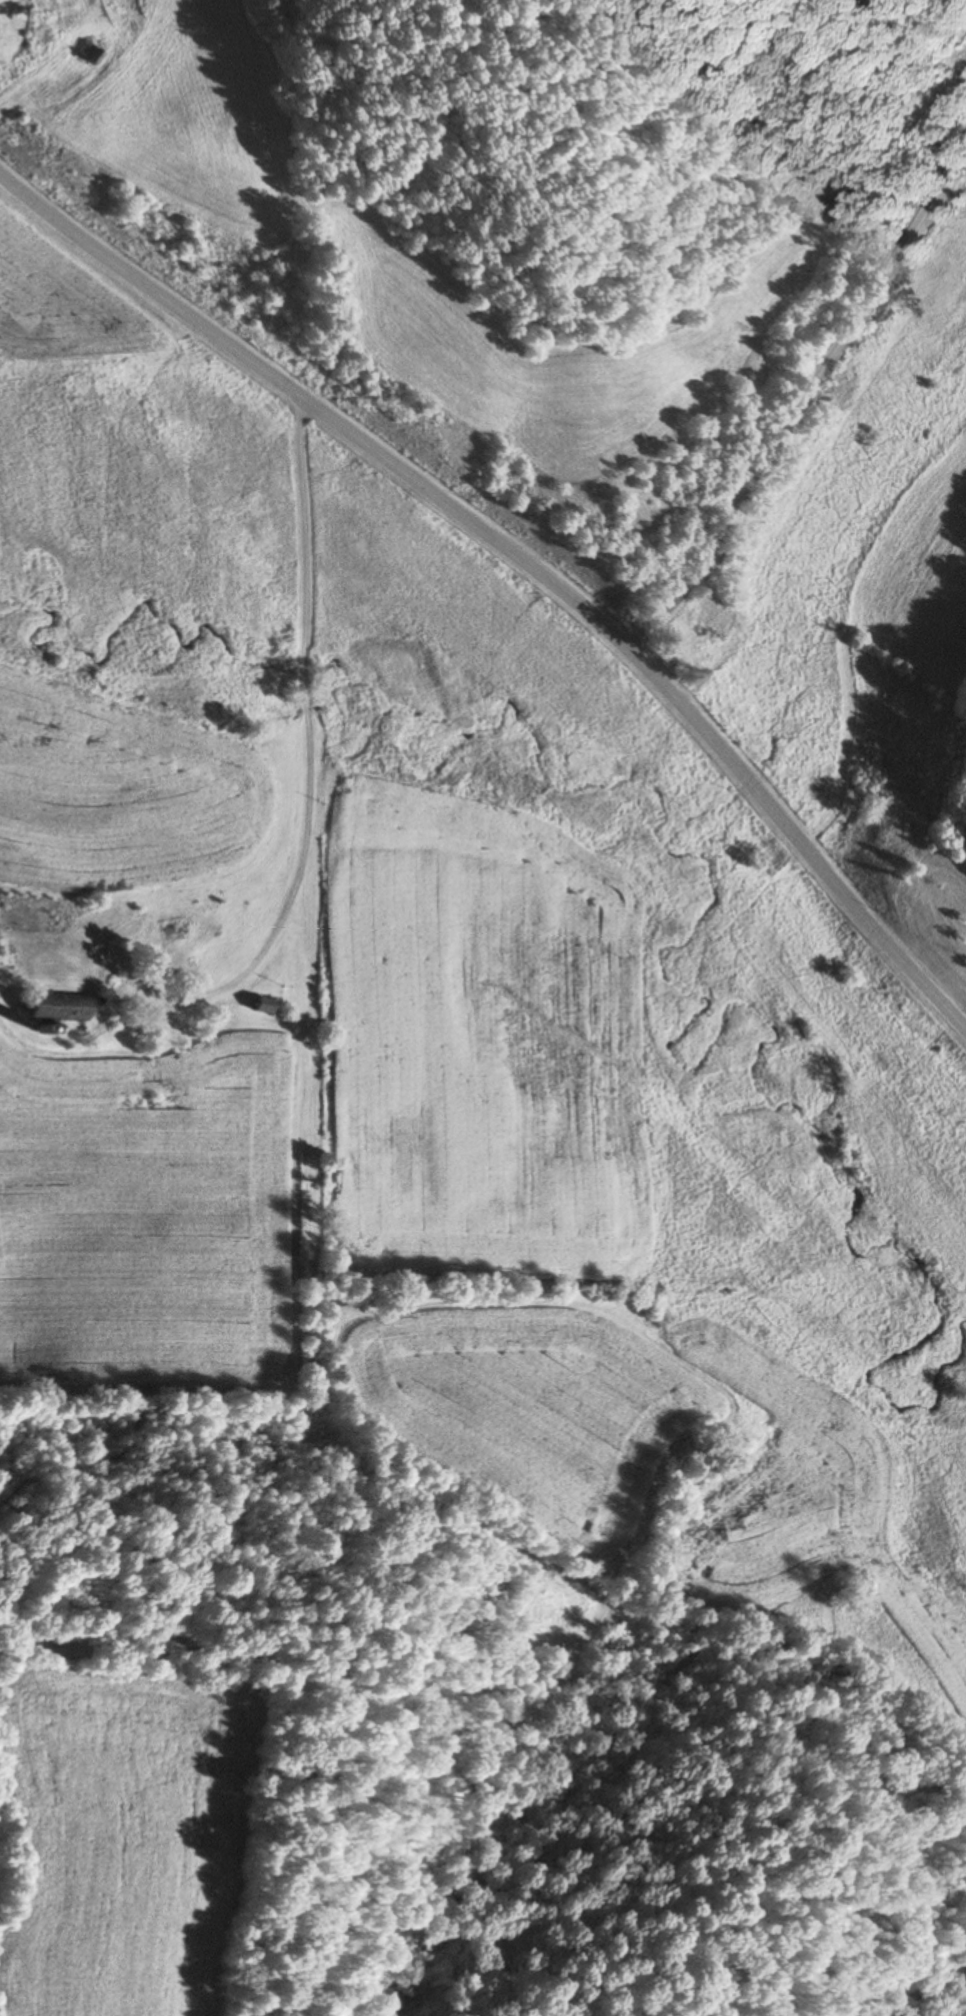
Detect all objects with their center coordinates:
road: (796, 379)
road: (517, 552)
building: (696, 627)
building: (723, 646)
road: (281, 745)
building: (172, 926)
building: (262, 1004)
building: (58, 1006)

